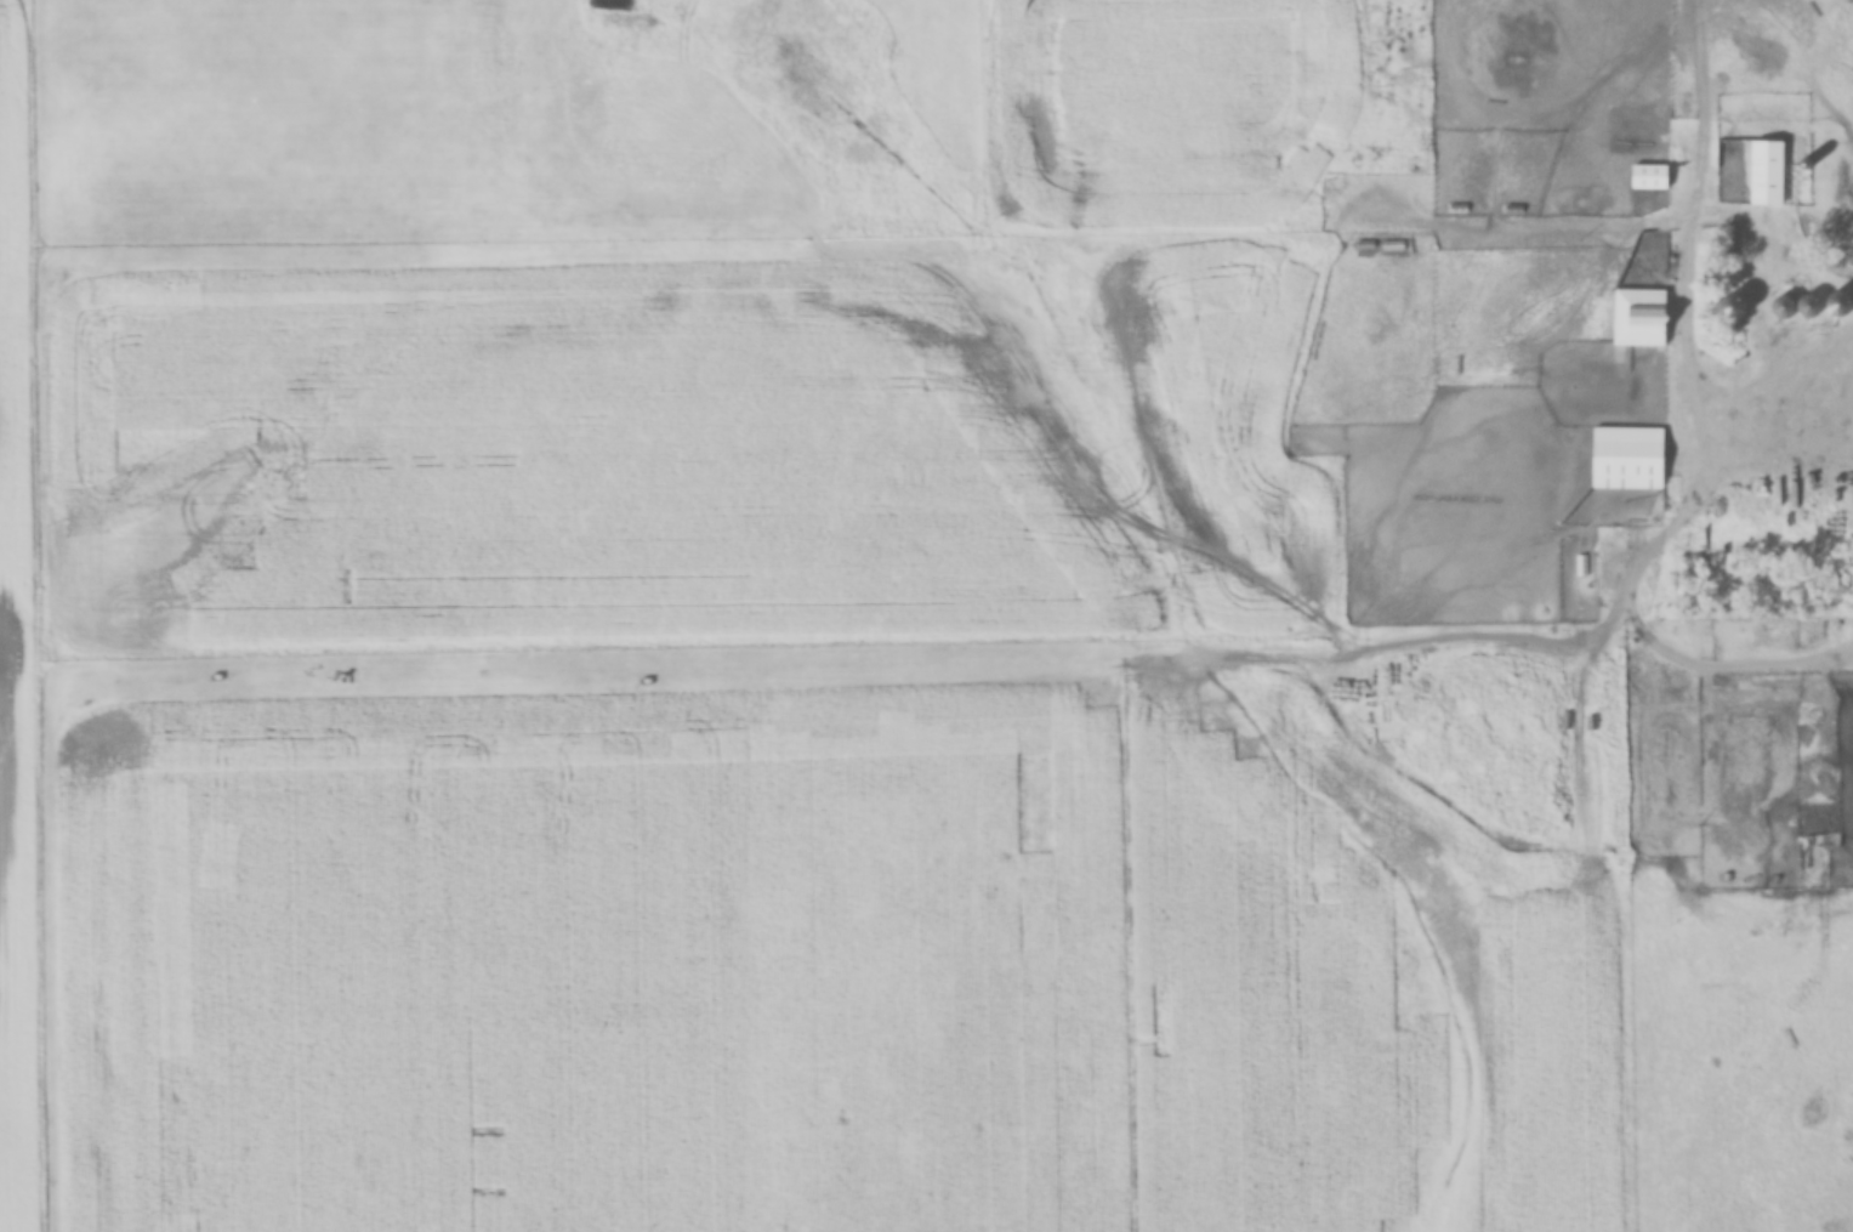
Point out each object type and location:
building: (1769, 171)
building: (1652, 176)
building: (1842, 301)
building: (1739, 305)
building: (1812, 305)
building: (1787, 306)
building: (1643, 316)
building: (1630, 456)

